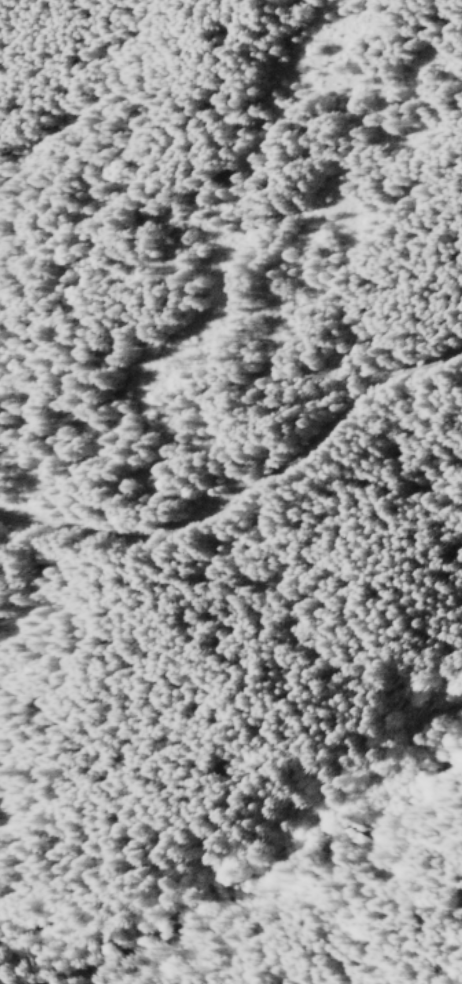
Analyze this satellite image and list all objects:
road: (247, 491)

